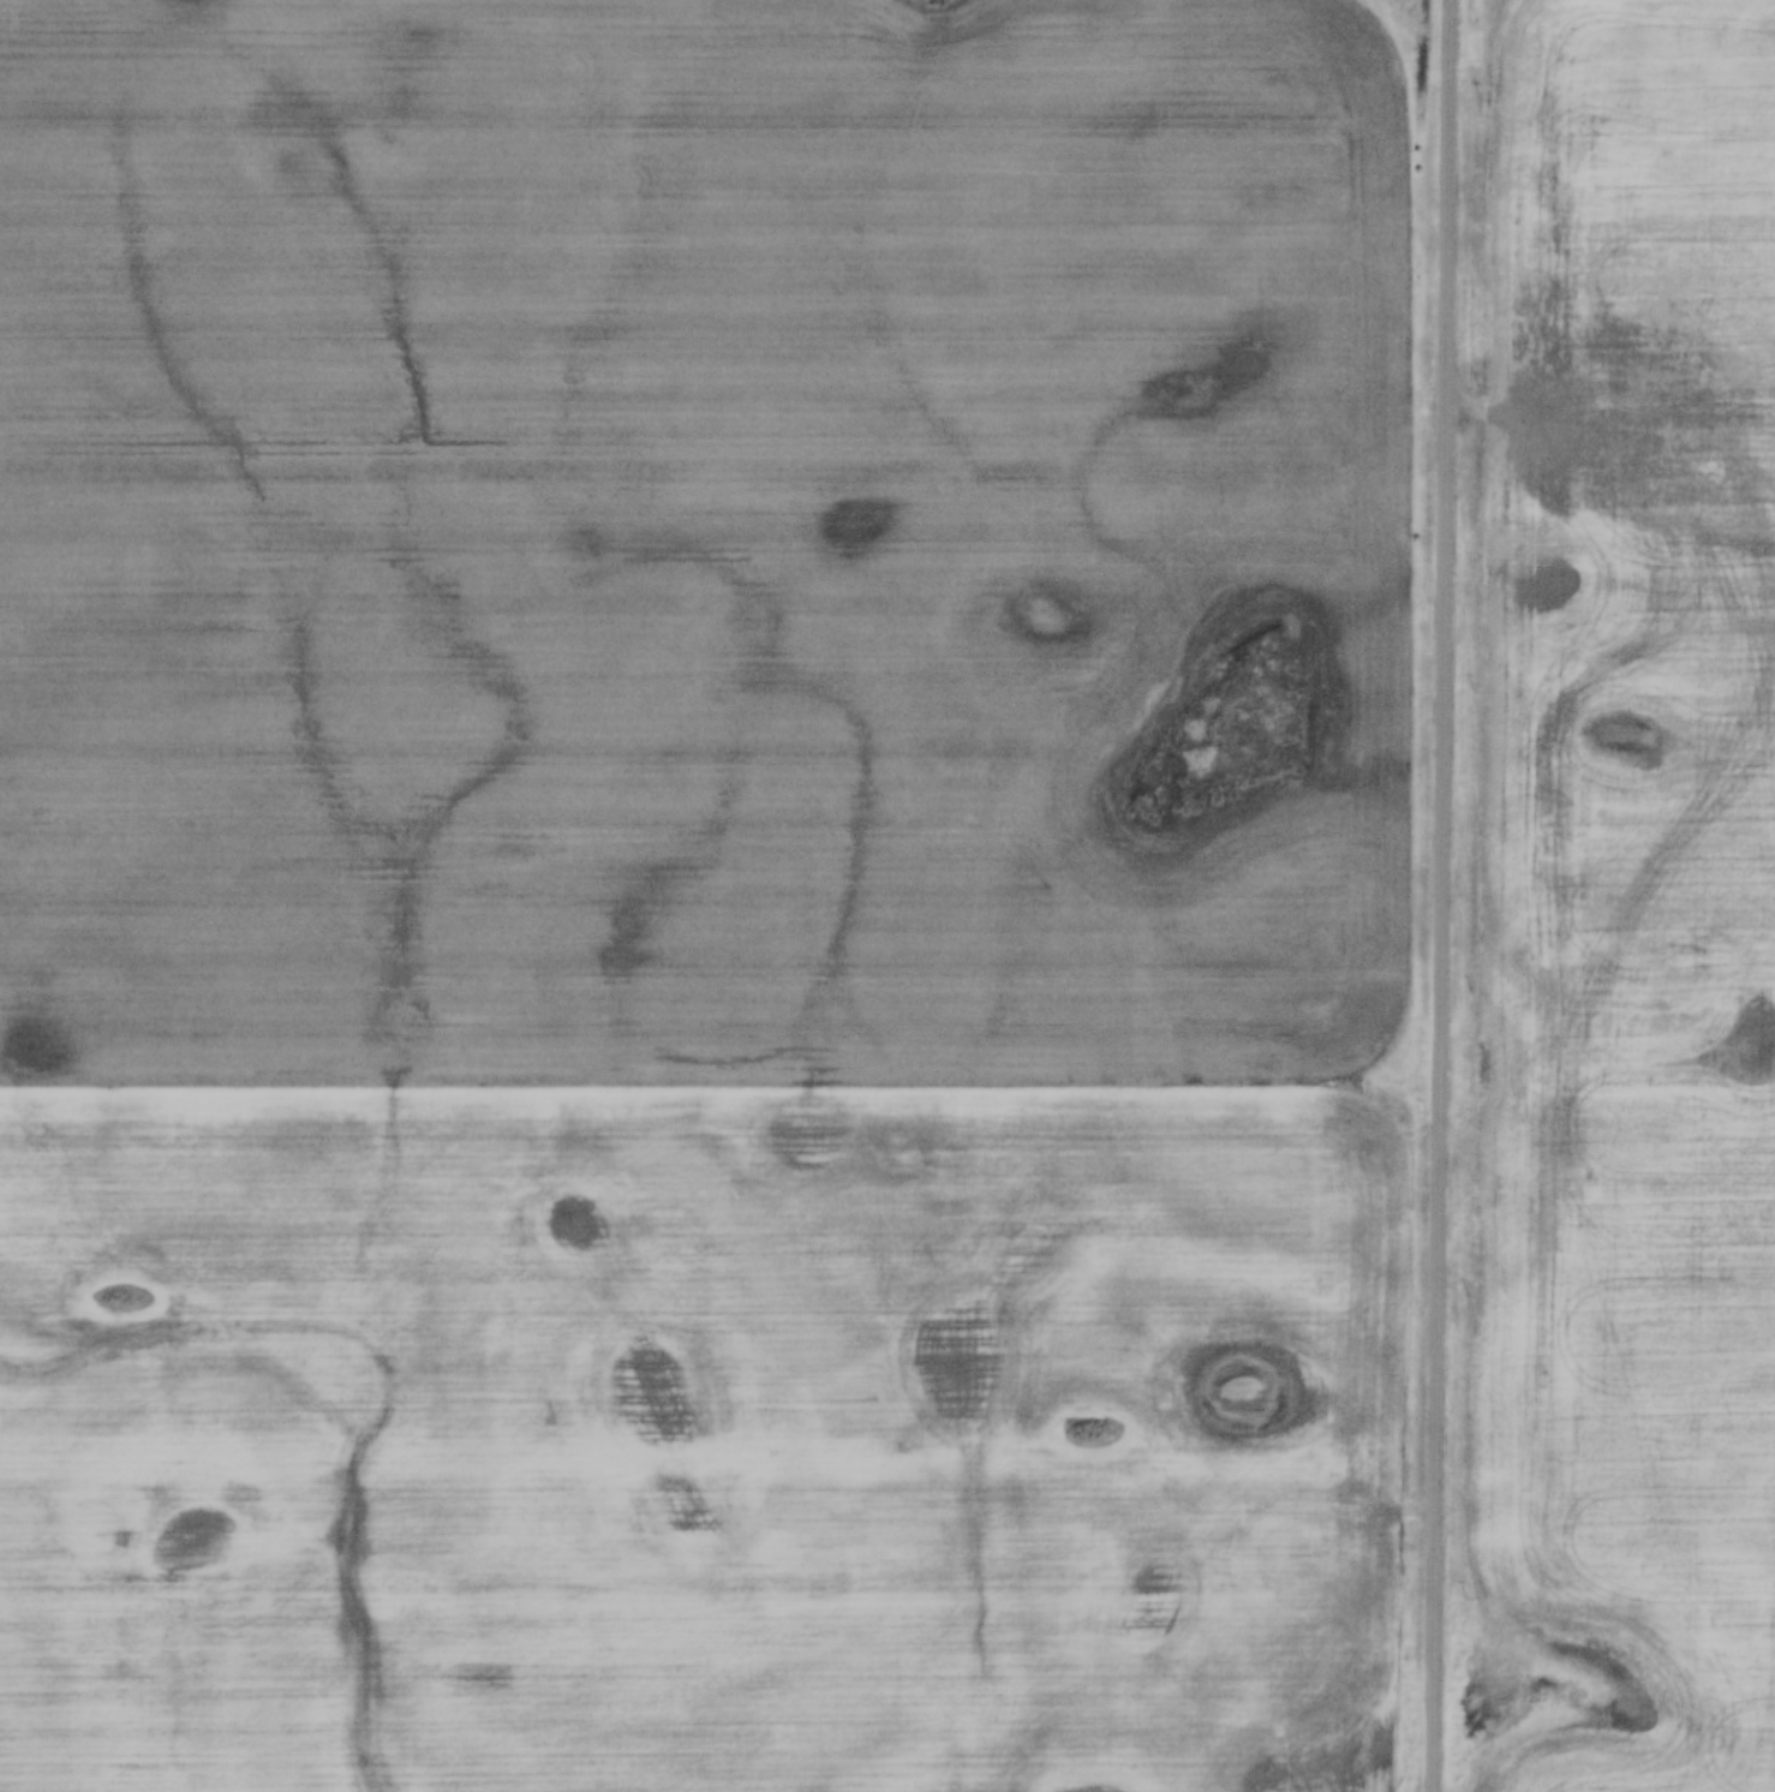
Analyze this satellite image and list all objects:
road: (1444, 895)

